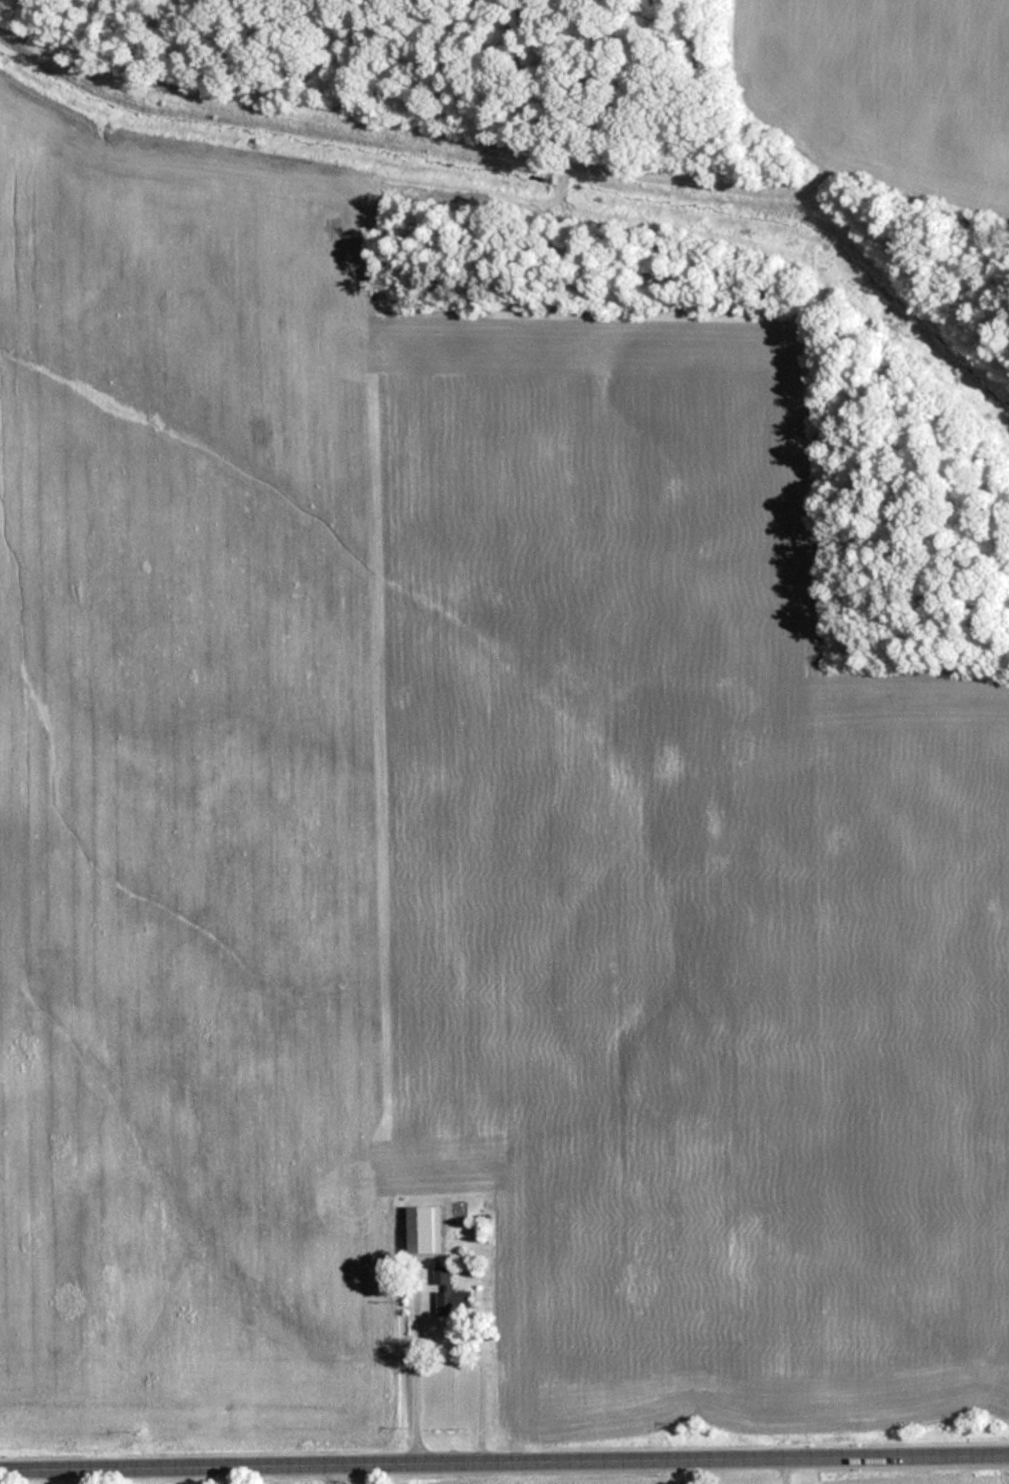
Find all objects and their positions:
building: (449, 1294)
road: (445, 1323)
road: (504, 1464)
road: (778, 1472)

